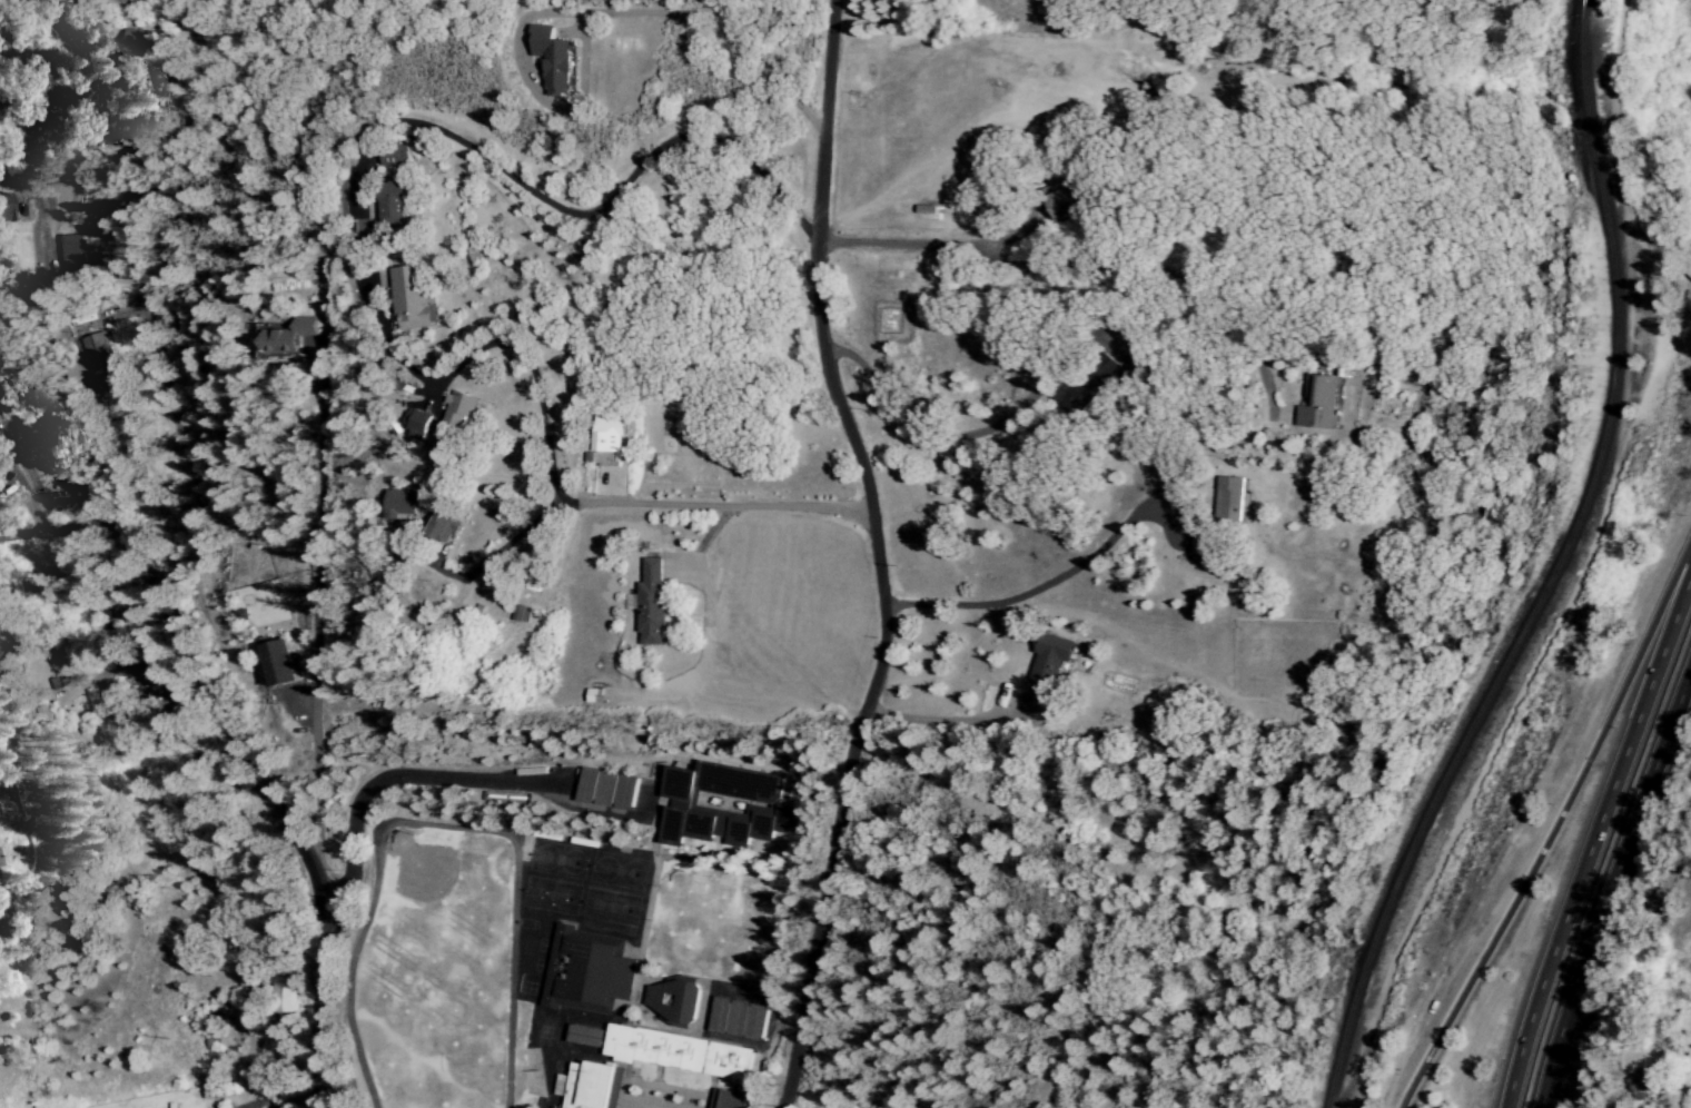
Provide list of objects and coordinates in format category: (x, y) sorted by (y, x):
road: (705, 29)
building: (137, 42)
building: (551, 60)
building: (392, 156)
building: (1060, 202)
building: (388, 204)
road: (595, 208)
road: (928, 246)
building: (70, 257)
building: (409, 300)
building: (286, 337)
building: (98, 363)
building: (1086, 386)
building: (1318, 404)
building: (457, 409)
road: (260, 413)
building: (415, 424)
road: (966, 433)
building: (604, 442)
building: (1228, 499)
road: (714, 503)
building: (397, 504)
building: (442, 527)
road: (491, 552)
road: (874, 555)
railway: (1556, 572)
road: (1052, 581)
building: (647, 602)
building: (518, 614)
building: (277, 664)
building: (1047, 664)
road: (949, 722)
road: (172, 766)
road: (230, 780)
road: (365, 790)
building: (604, 790)
building: (715, 815)
road: (1550, 831)
road: (1592, 838)
road: (1611, 900)
building: (586, 972)
building: (286, 997)
building: (672, 1000)
building: (736, 1019)
building: (583, 1037)
building: (584, 1086)
building: (725, 1099)

